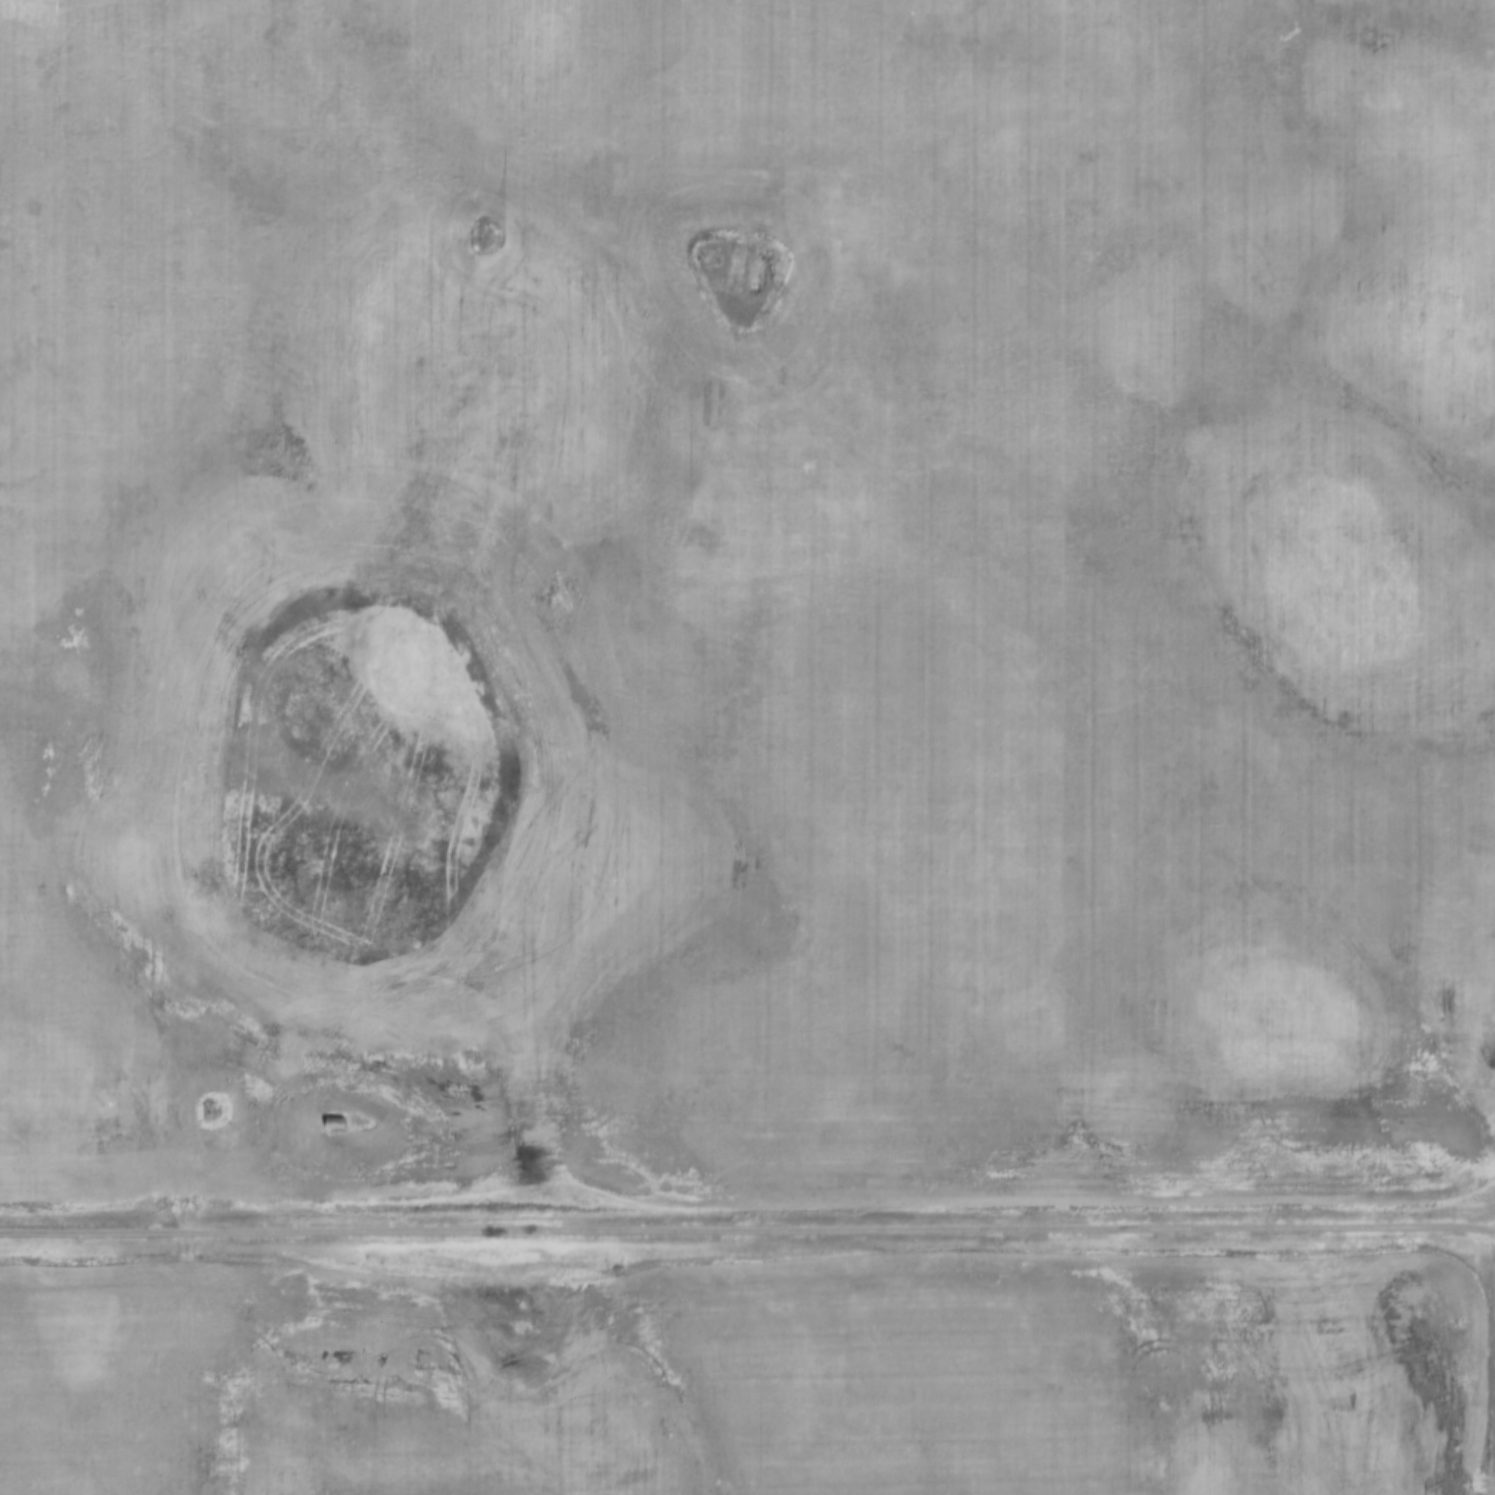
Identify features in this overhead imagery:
road: (747, 1234)

